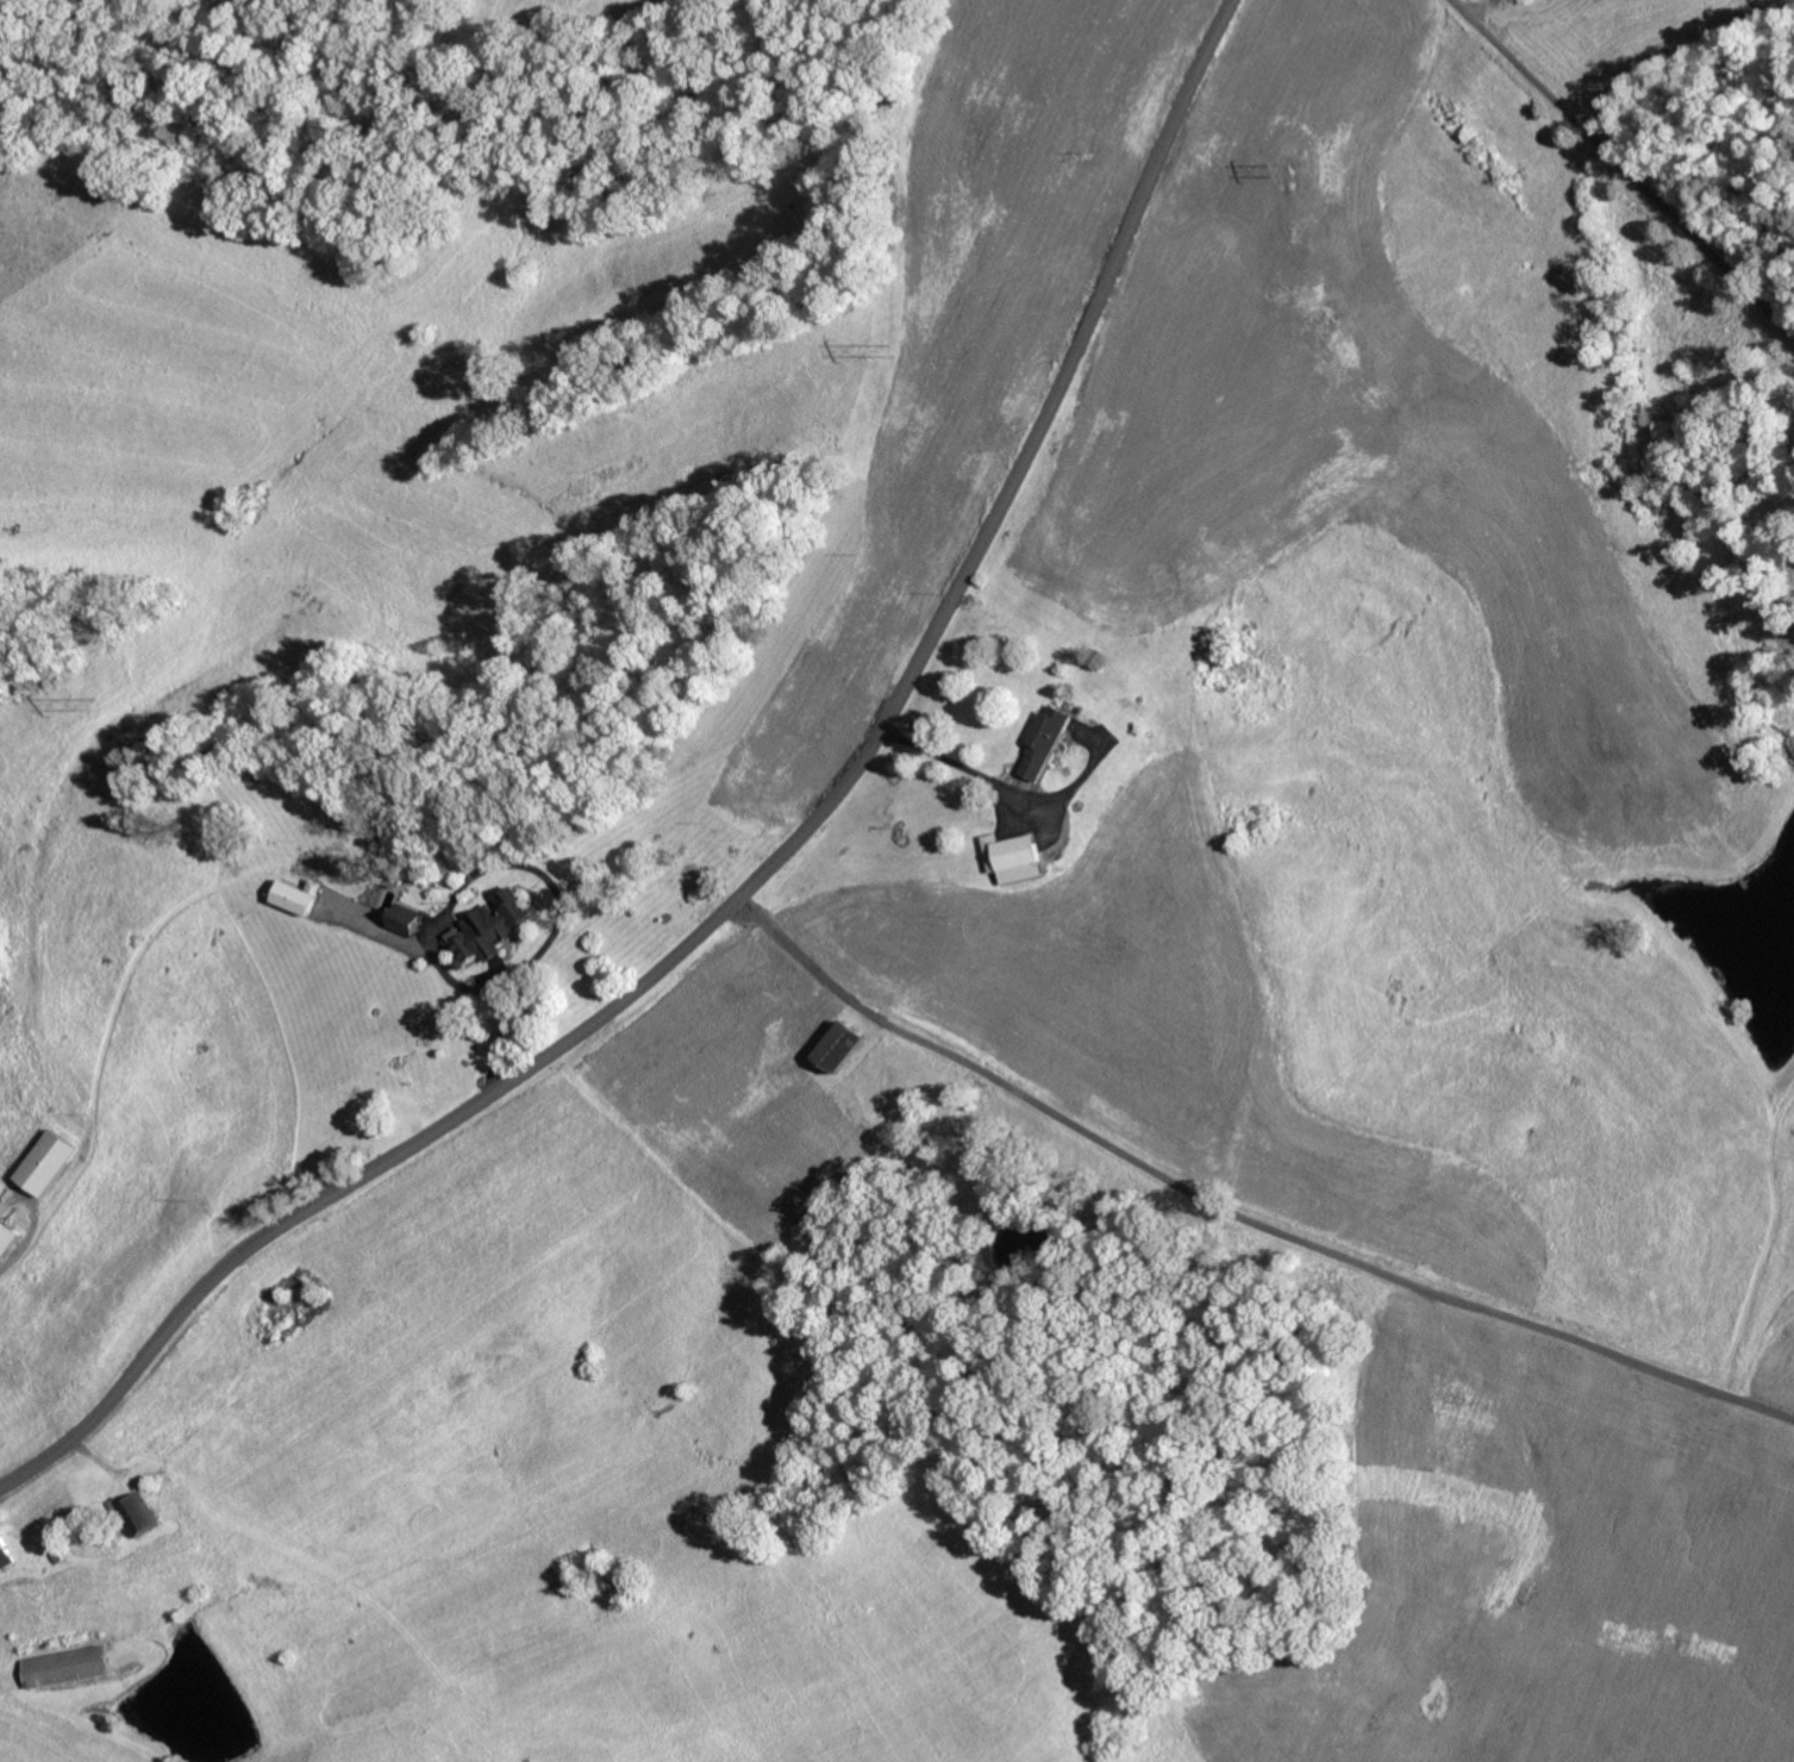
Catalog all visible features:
road: (1624, 168)
power tower: (1293, 171)
power tower: (892, 348)
power tower: (102, 700)
building: (1048, 742)
building: (1015, 856)
road: (767, 869)
building: (300, 895)
building: (410, 919)
building: (496, 926)
building: (845, 1046)
building: (55, 1160)
road: (1237, 1213)
building: (10, 1236)
building: (139, 1513)
building: (7, 1551)
building: (65, 1664)

